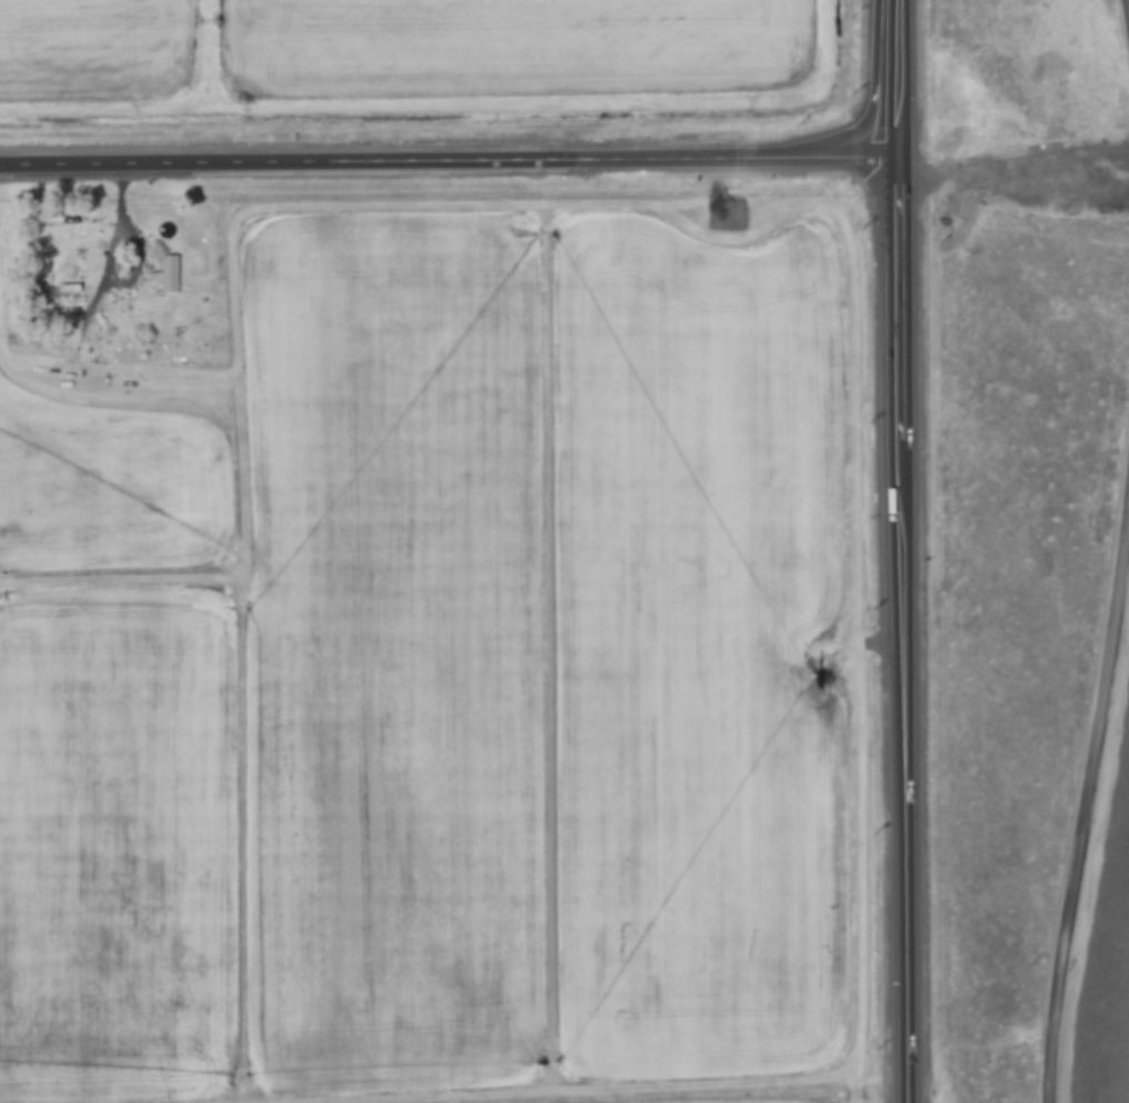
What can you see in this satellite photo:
road: (909, 81)
road: (454, 167)
road: (1020, 168)
building: (169, 272)
road: (911, 633)
road: (1086, 806)

